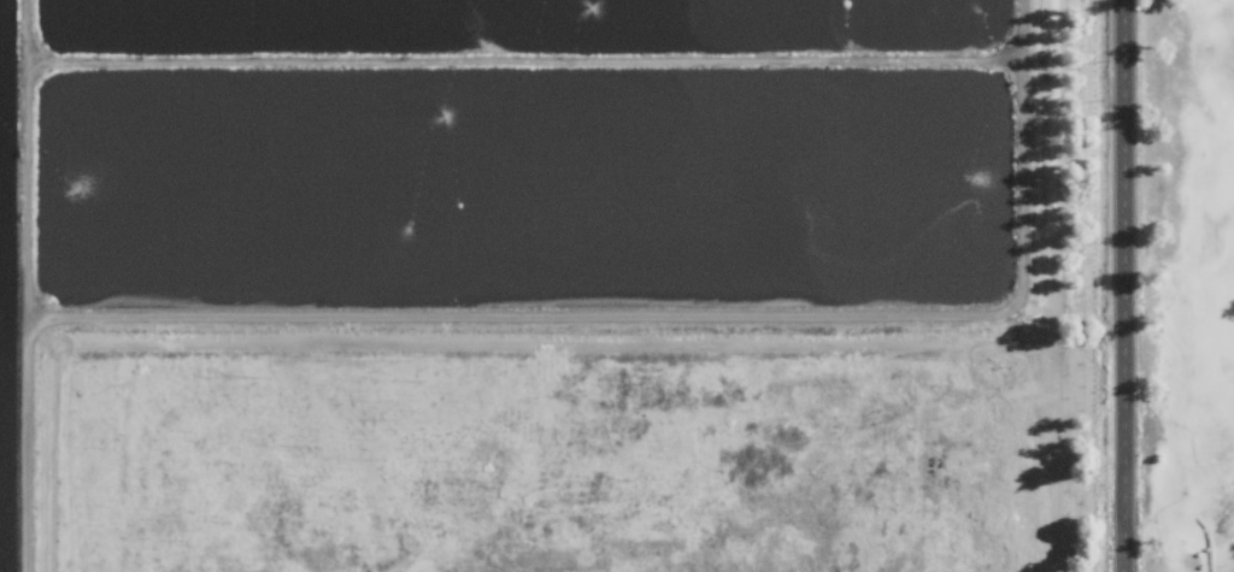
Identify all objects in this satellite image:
park: (1191, 284)
road: (1127, 285)
road: (1205, 542)

